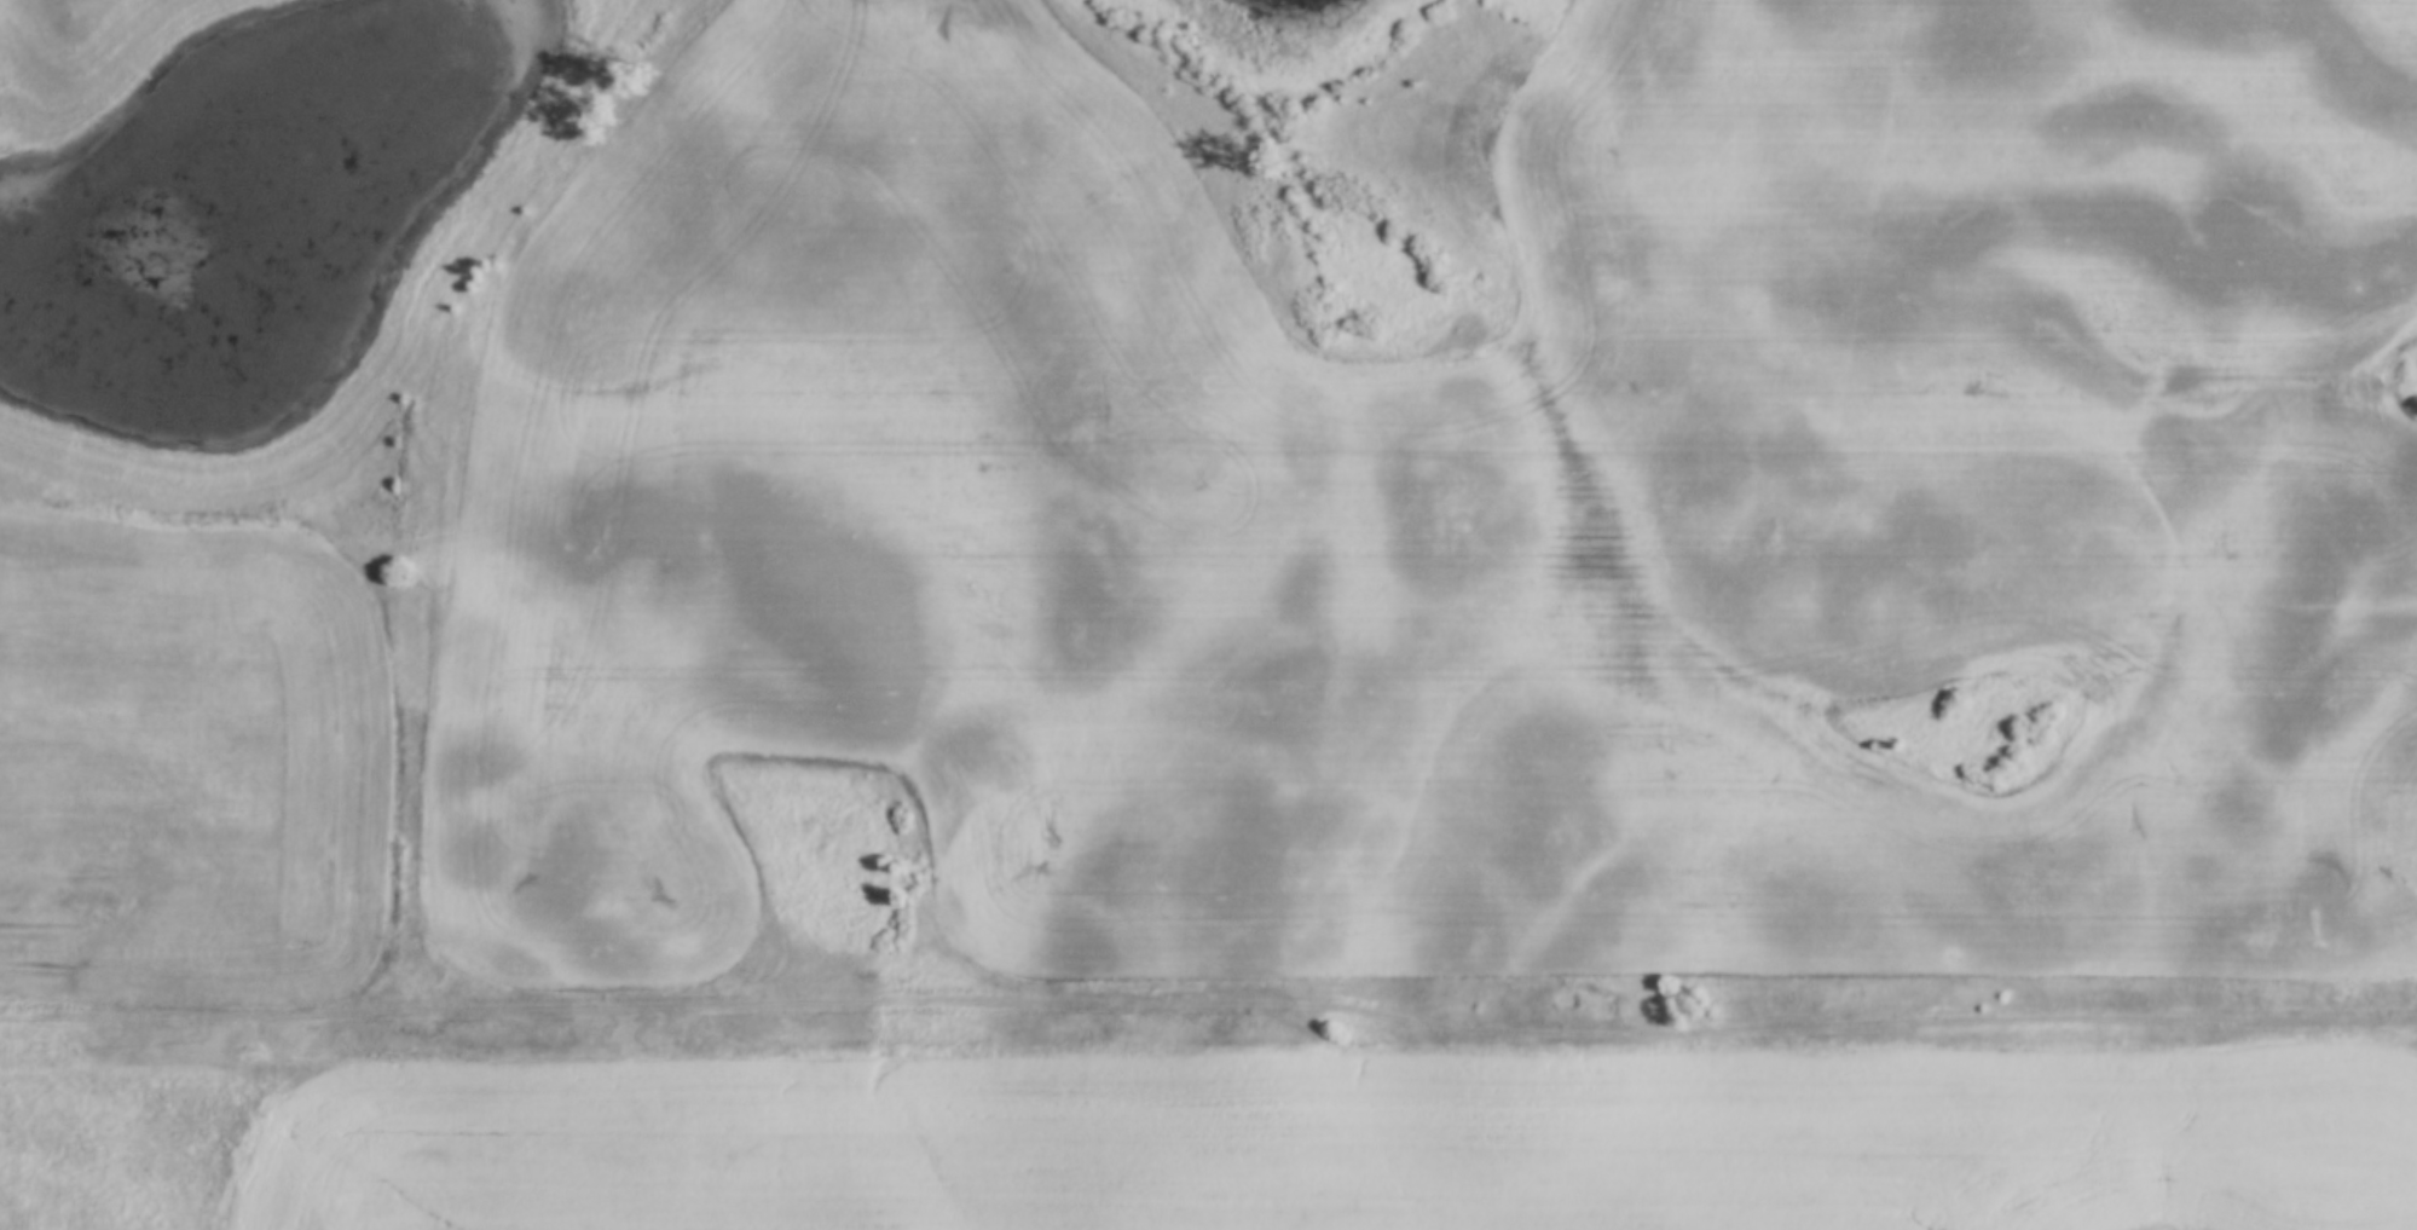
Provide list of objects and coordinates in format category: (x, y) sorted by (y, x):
wind turbine: (1070, 409)
road: (1209, 1005)

